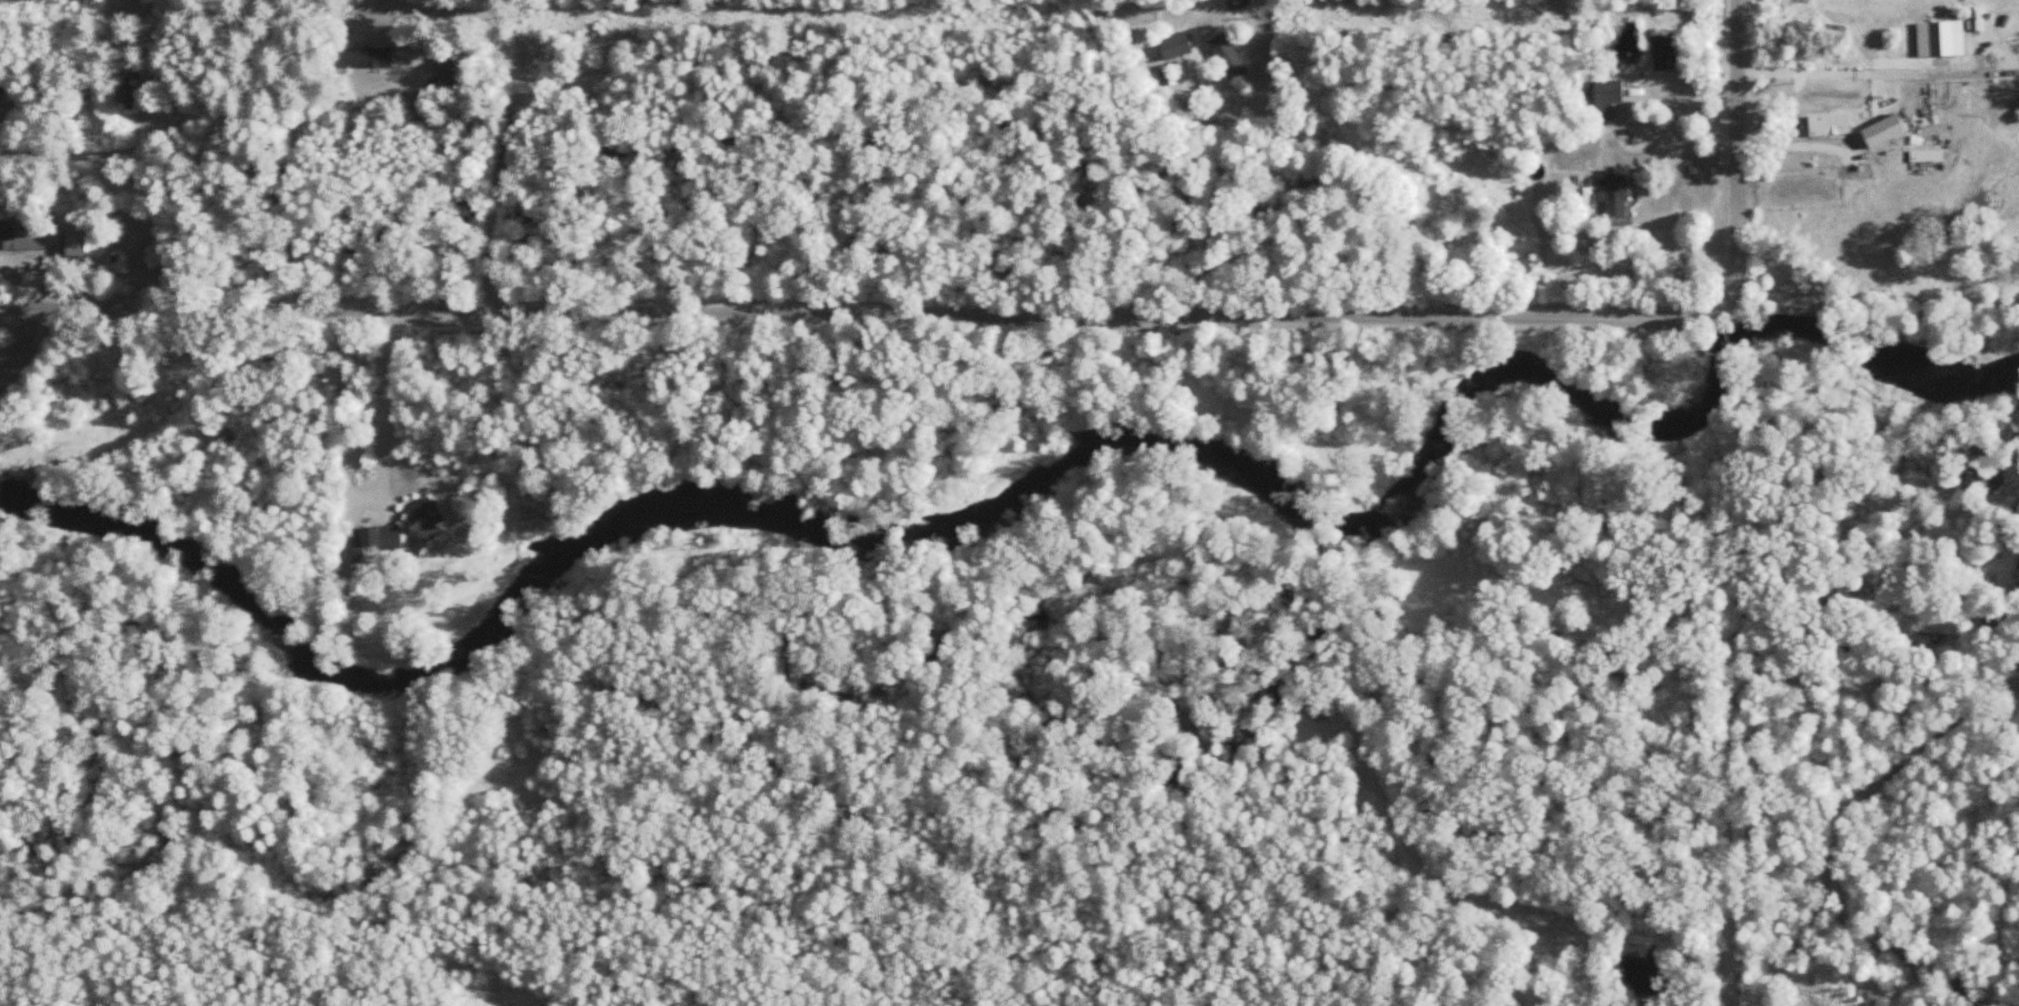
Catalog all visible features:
building: (1941, 39)
building: (1663, 52)
building: (1226, 57)
building: (368, 58)
road: (1861, 71)
building: (447, 73)
building: (1, 85)
building: (126, 90)
road: (1737, 94)
building: (1602, 97)
road: (508, 144)
road: (1628, 155)
building: (1614, 194)
road: (1736, 237)
building: (44, 238)
road: (888, 329)
road: (386, 407)
river: (1041, 491)
building: (423, 521)
building: (379, 539)

